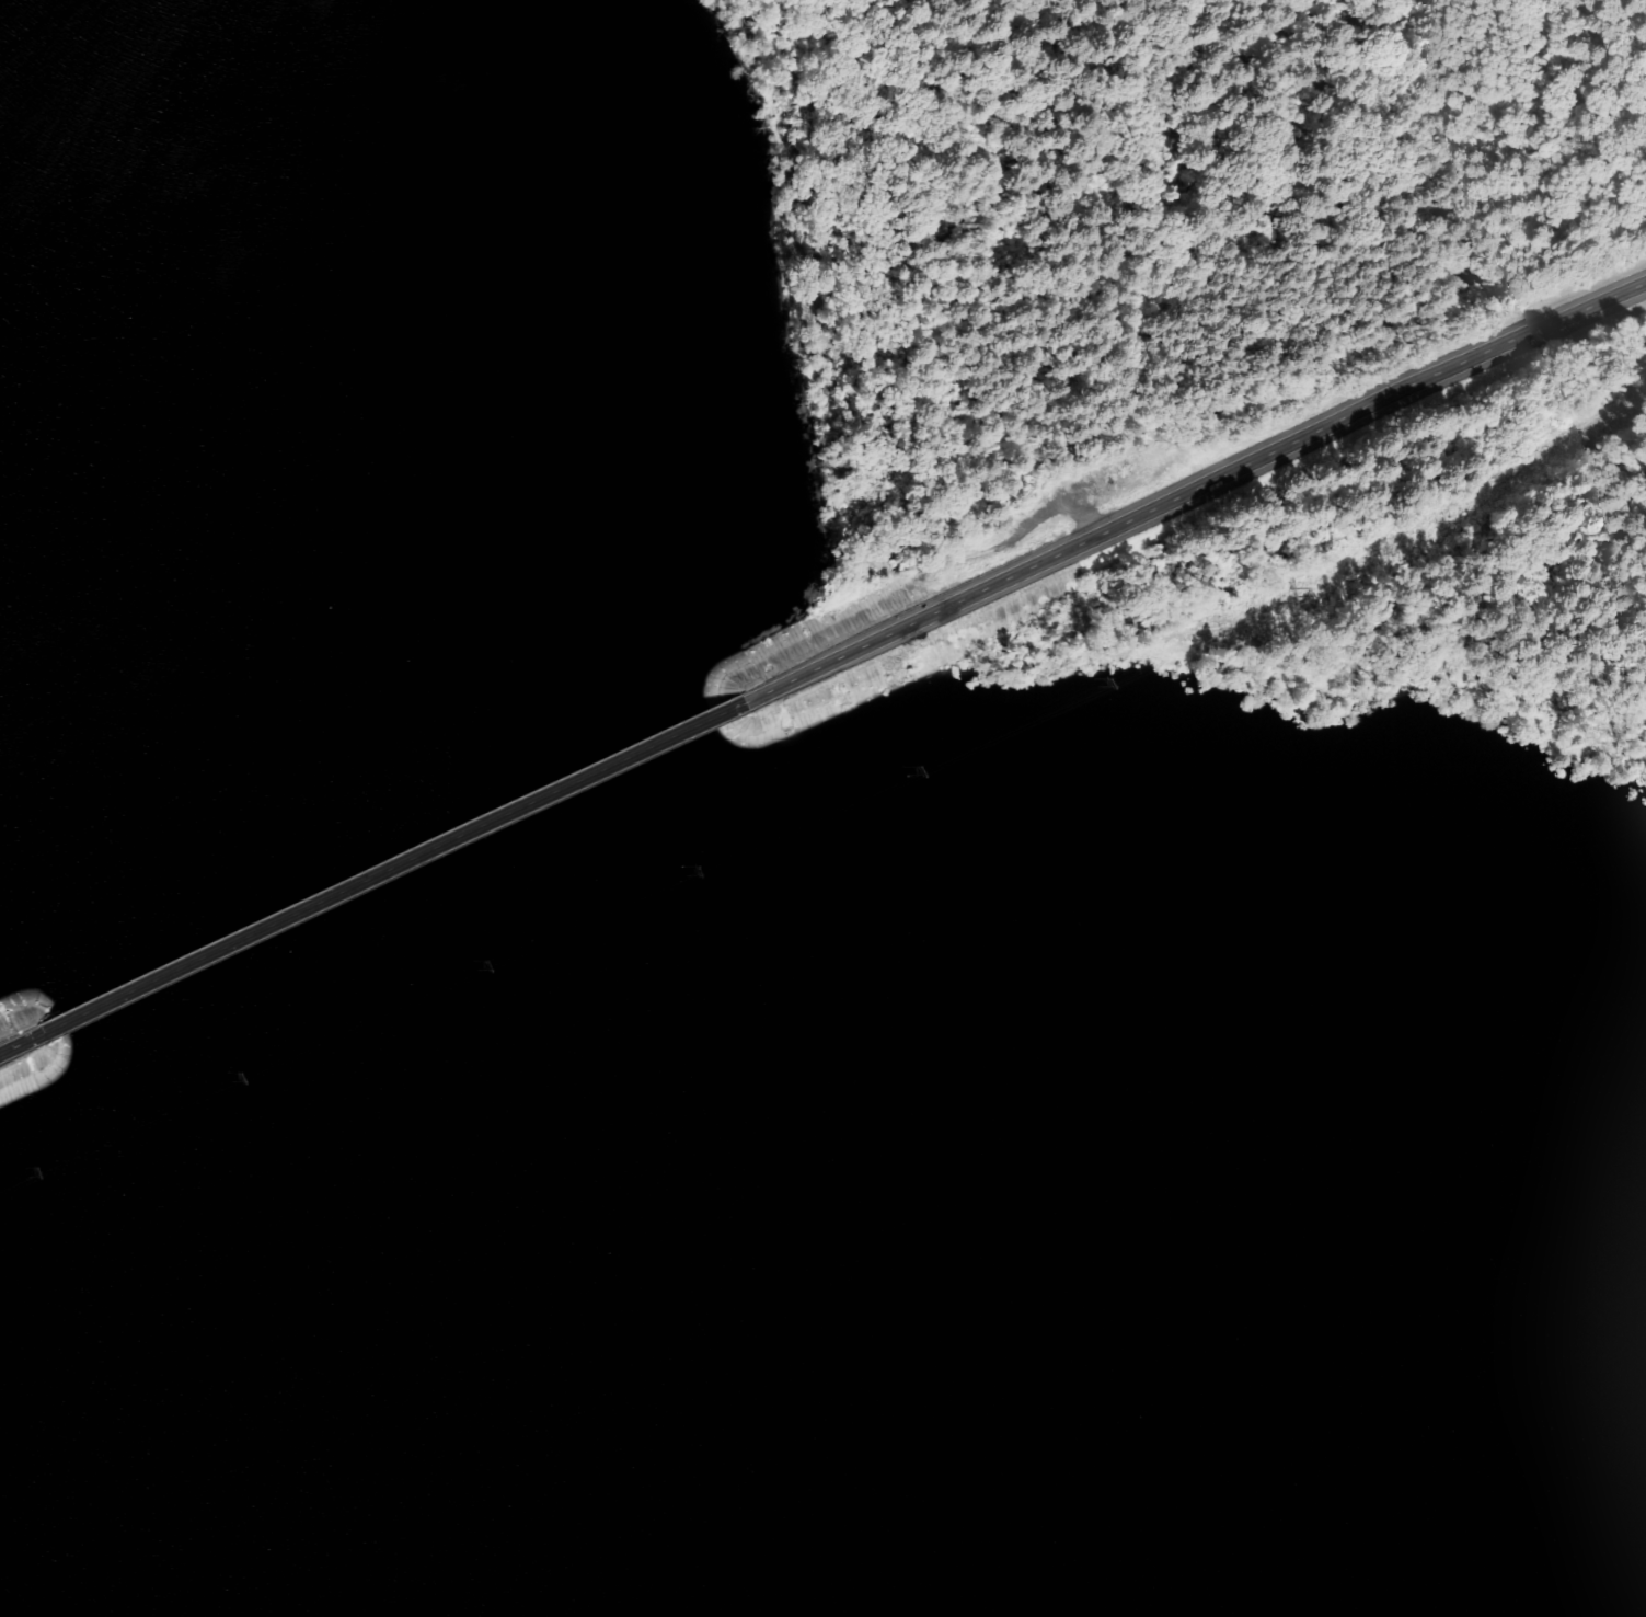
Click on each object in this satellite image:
road: (1190, 491)
road: (985, 554)
road: (387, 872)
river: (394, 891)
road: (18, 1045)

